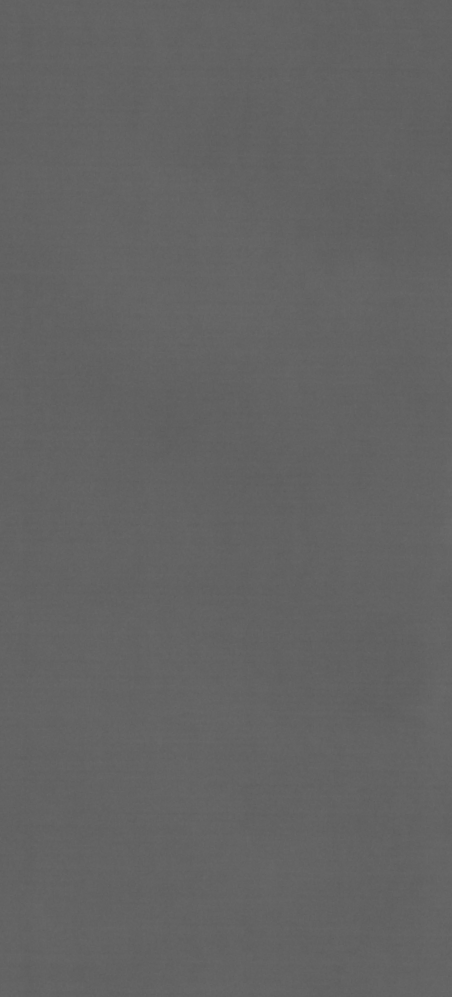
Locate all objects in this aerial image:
crop: (226, 498)

